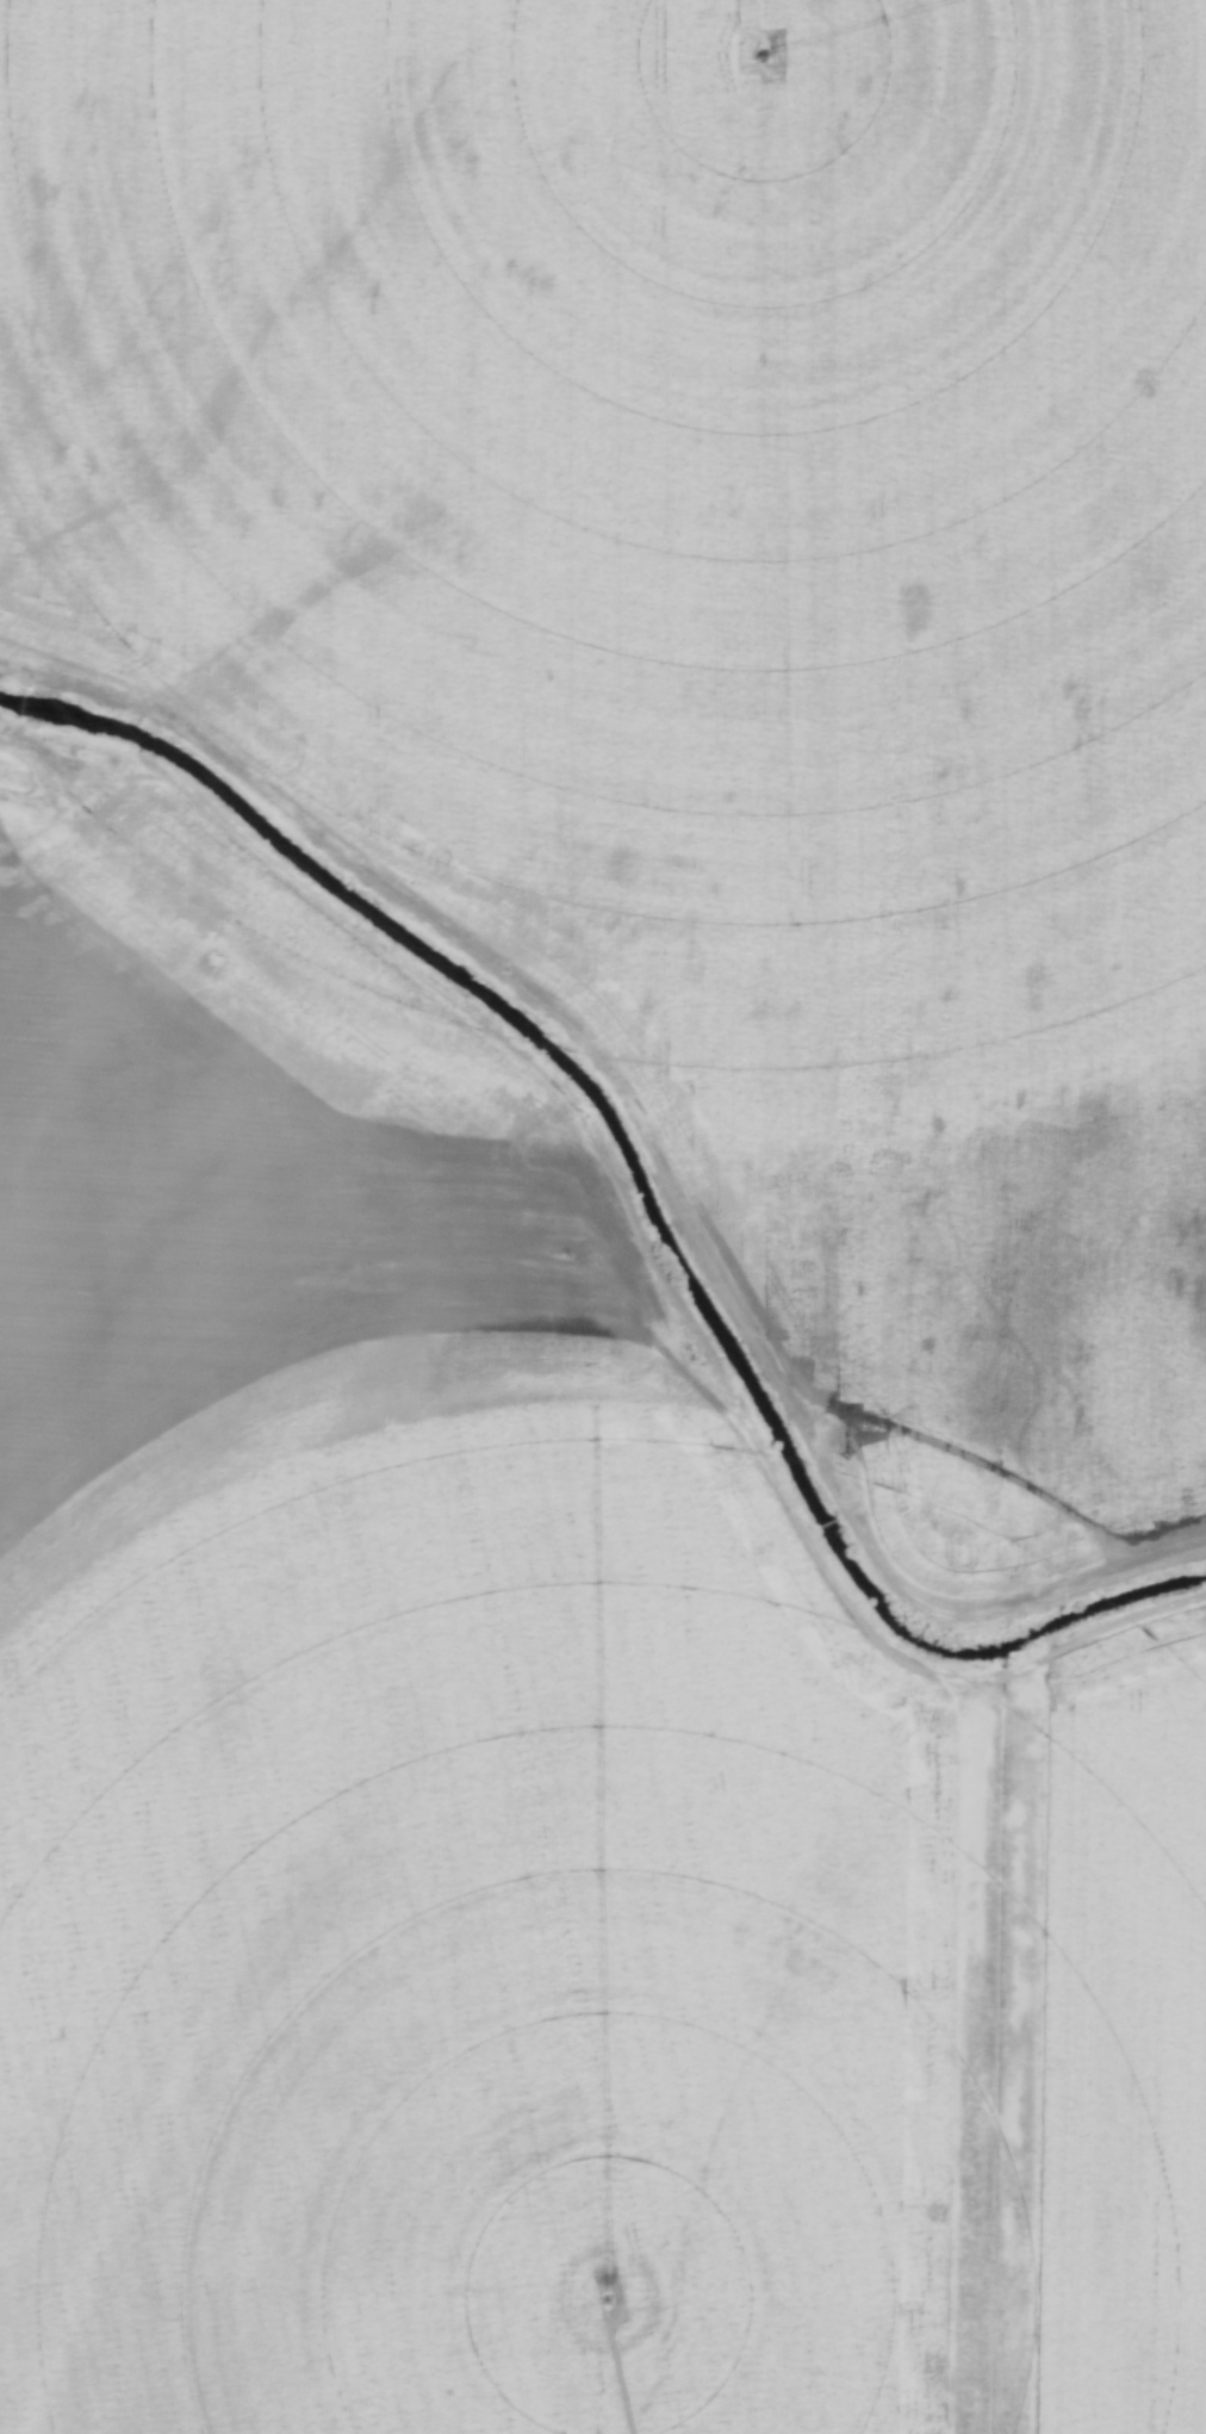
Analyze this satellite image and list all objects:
crop: (707, 609)
crop: (412, 1743)
crop: (1121, 2041)

